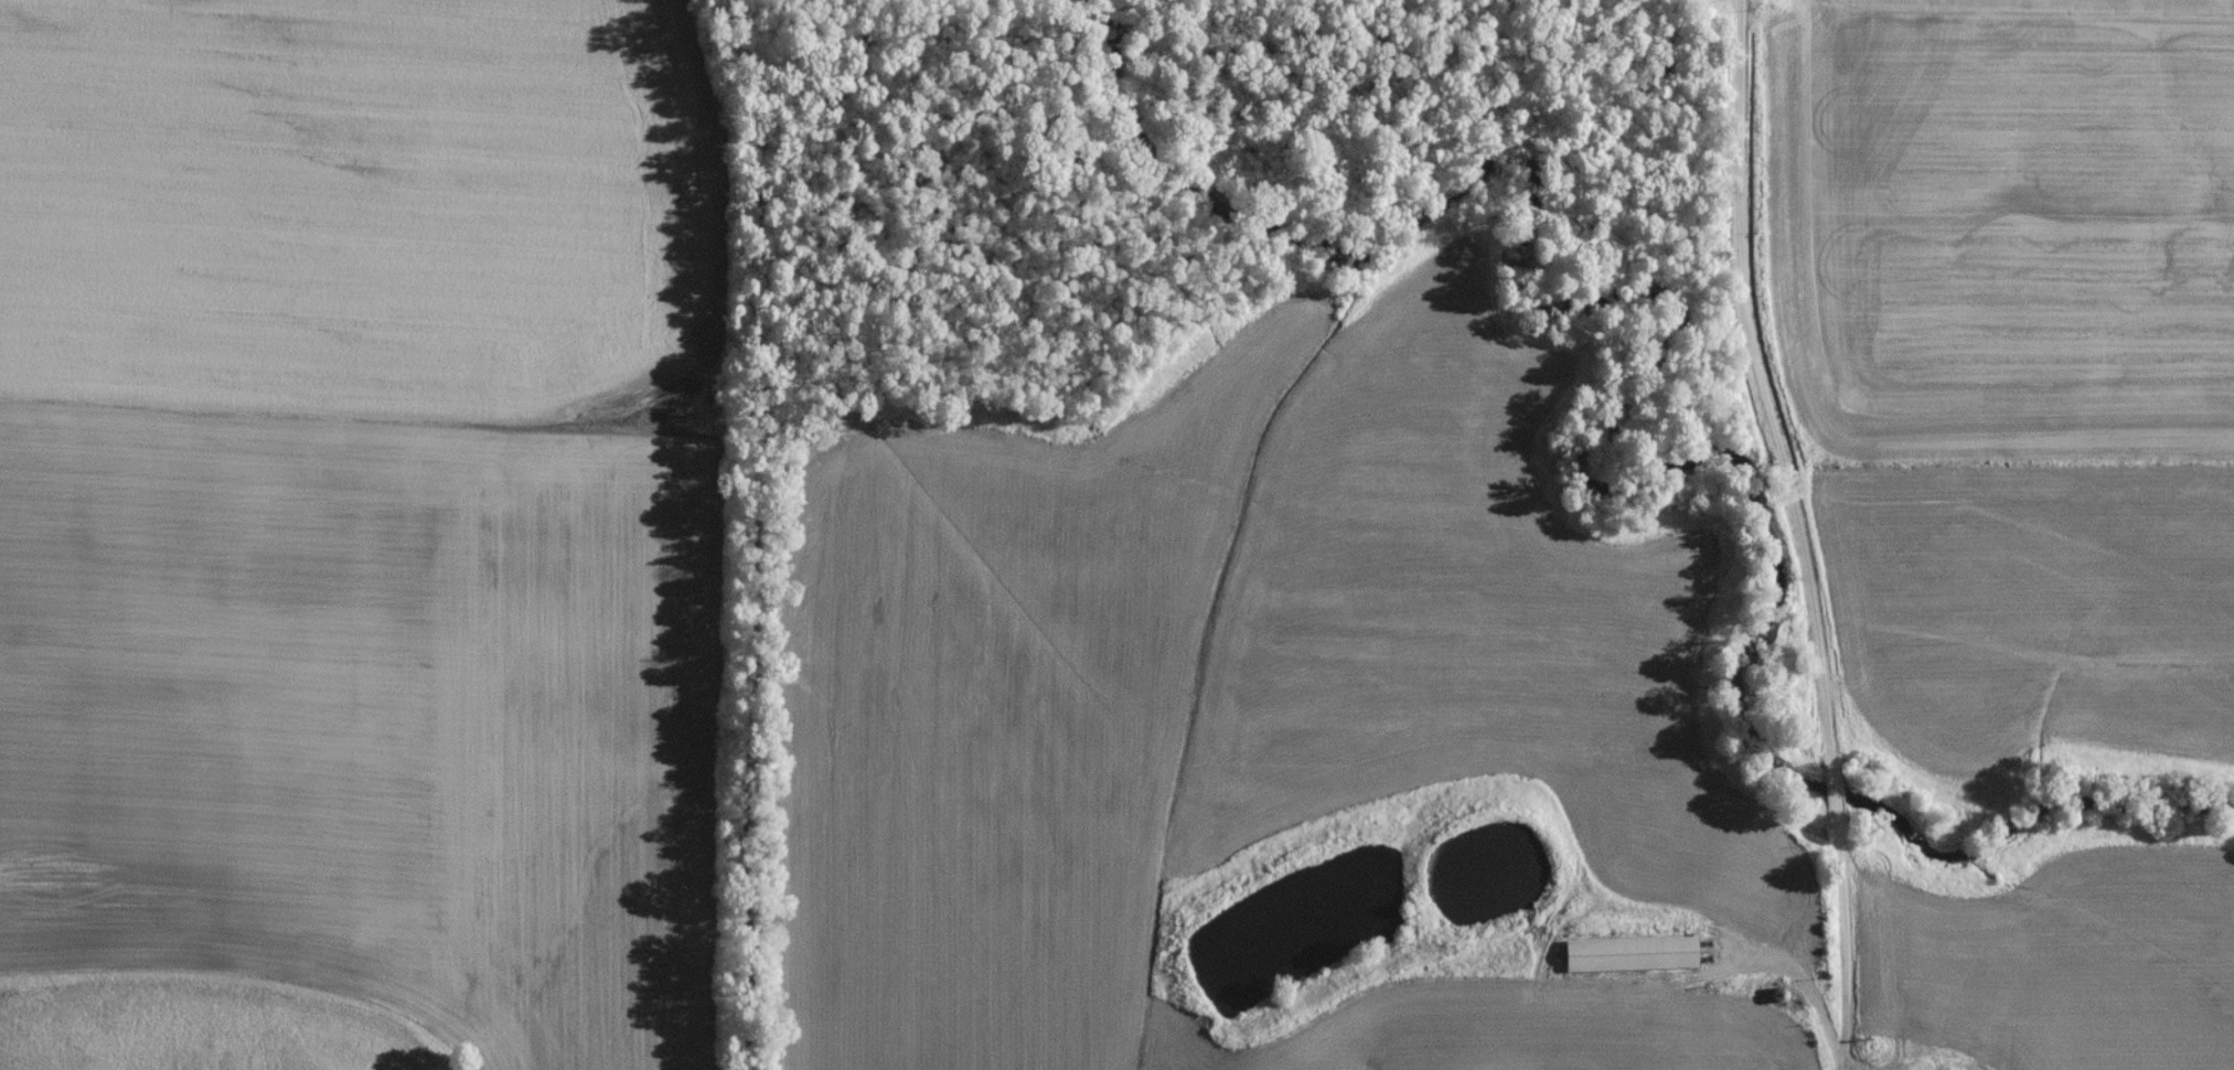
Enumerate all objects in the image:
road: (1804, 532)
building: (1632, 959)
building: (1779, 1064)

